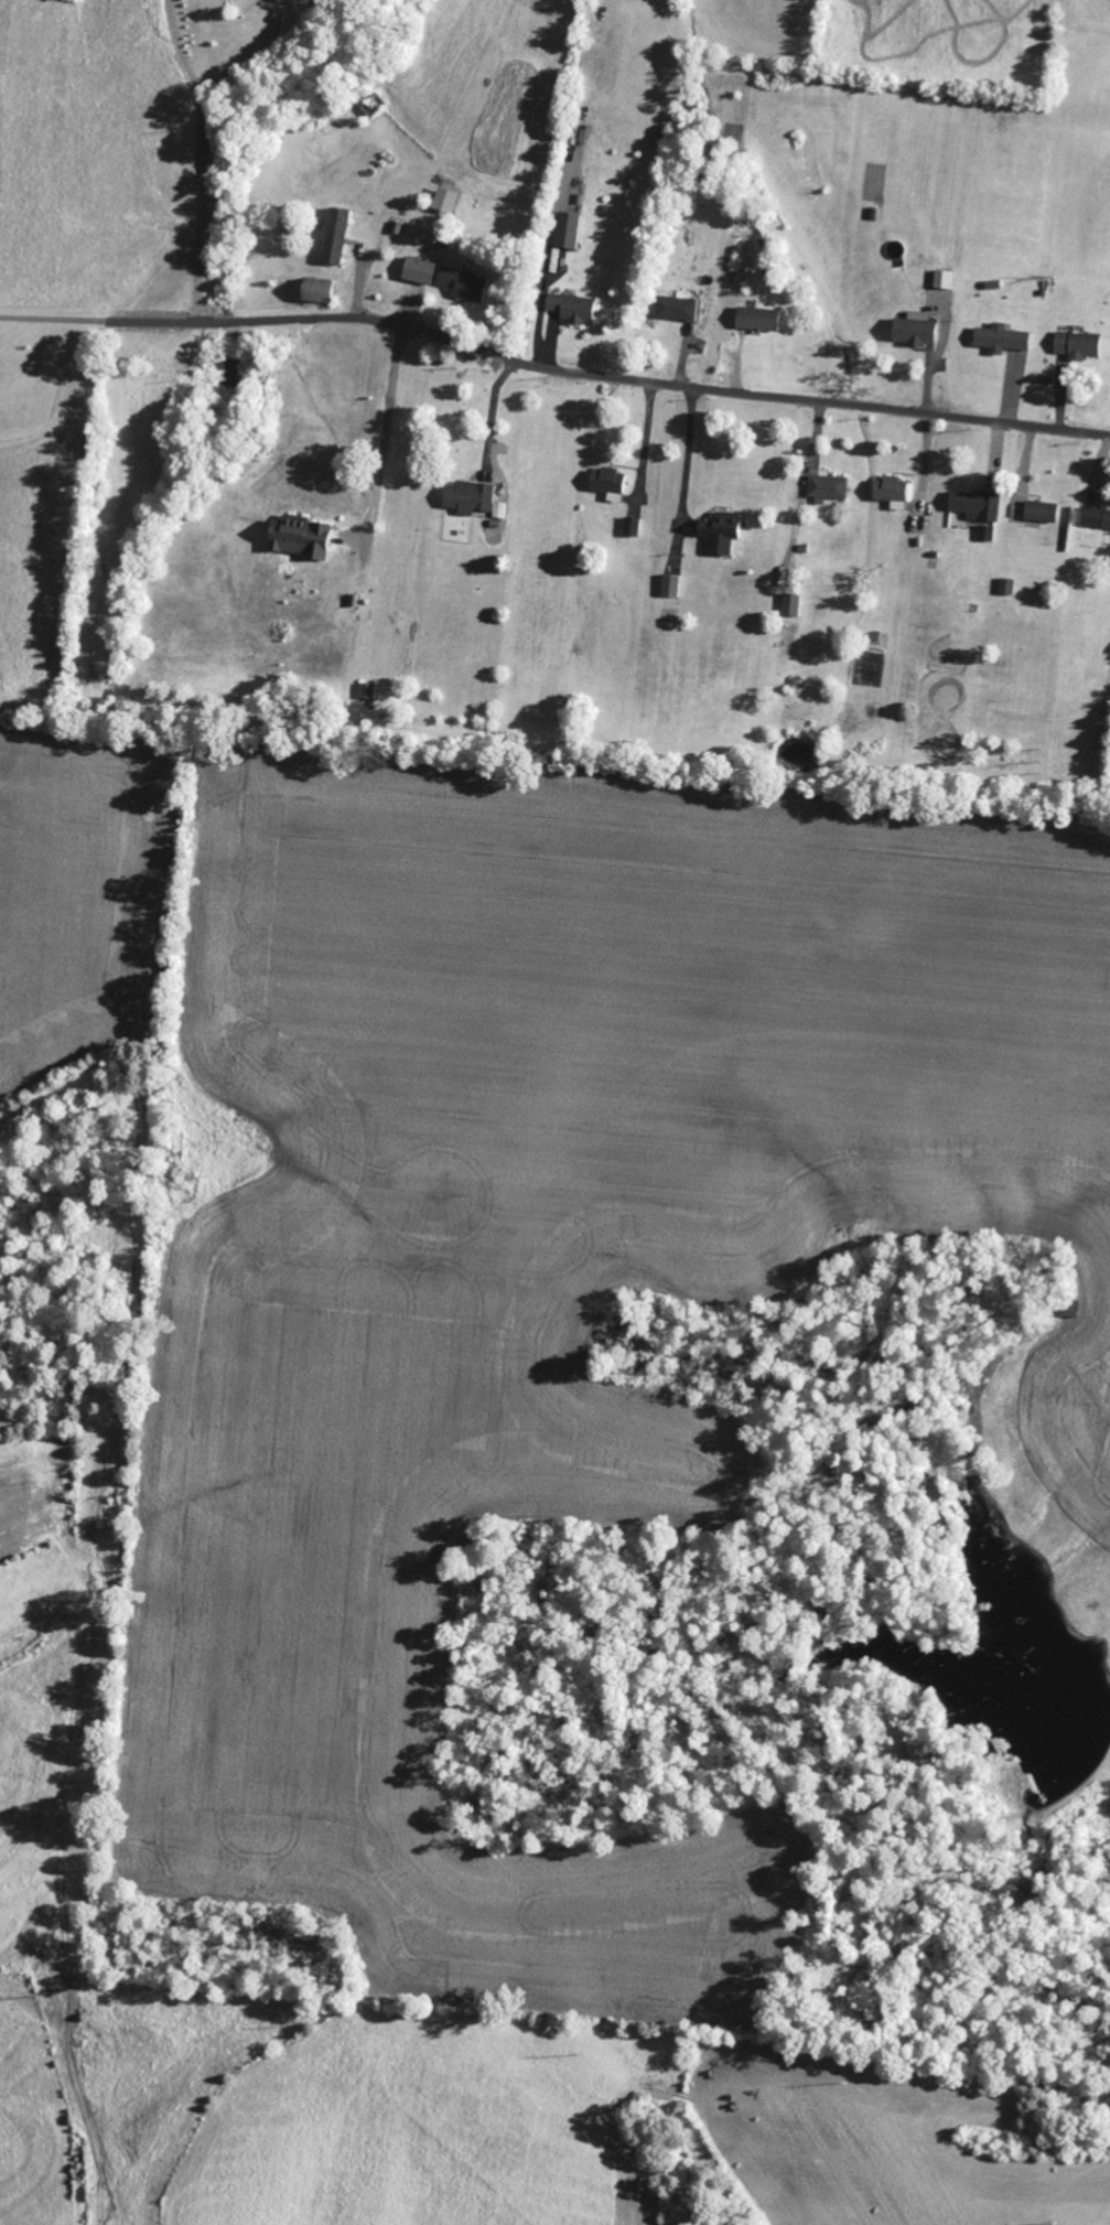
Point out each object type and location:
building: (446, 201)
building: (570, 232)
building: (337, 237)
building: (420, 271)
building: (945, 280)
building: (465, 286)
building: (319, 291)
building: (574, 309)
building: (678, 309)
building: (759, 320)
building: (917, 331)
building: (1003, 340)
building: (1080, 346)
road: (553, 370)
building: (610, 481)
building: (830, 487)
building: (892, 490)
building: (471, 498)
building: (980, 512)
building: (1044, 513)
building: (1097, 518)
building: (723, 533)
building: (302, 540)
building: (794, 606)

